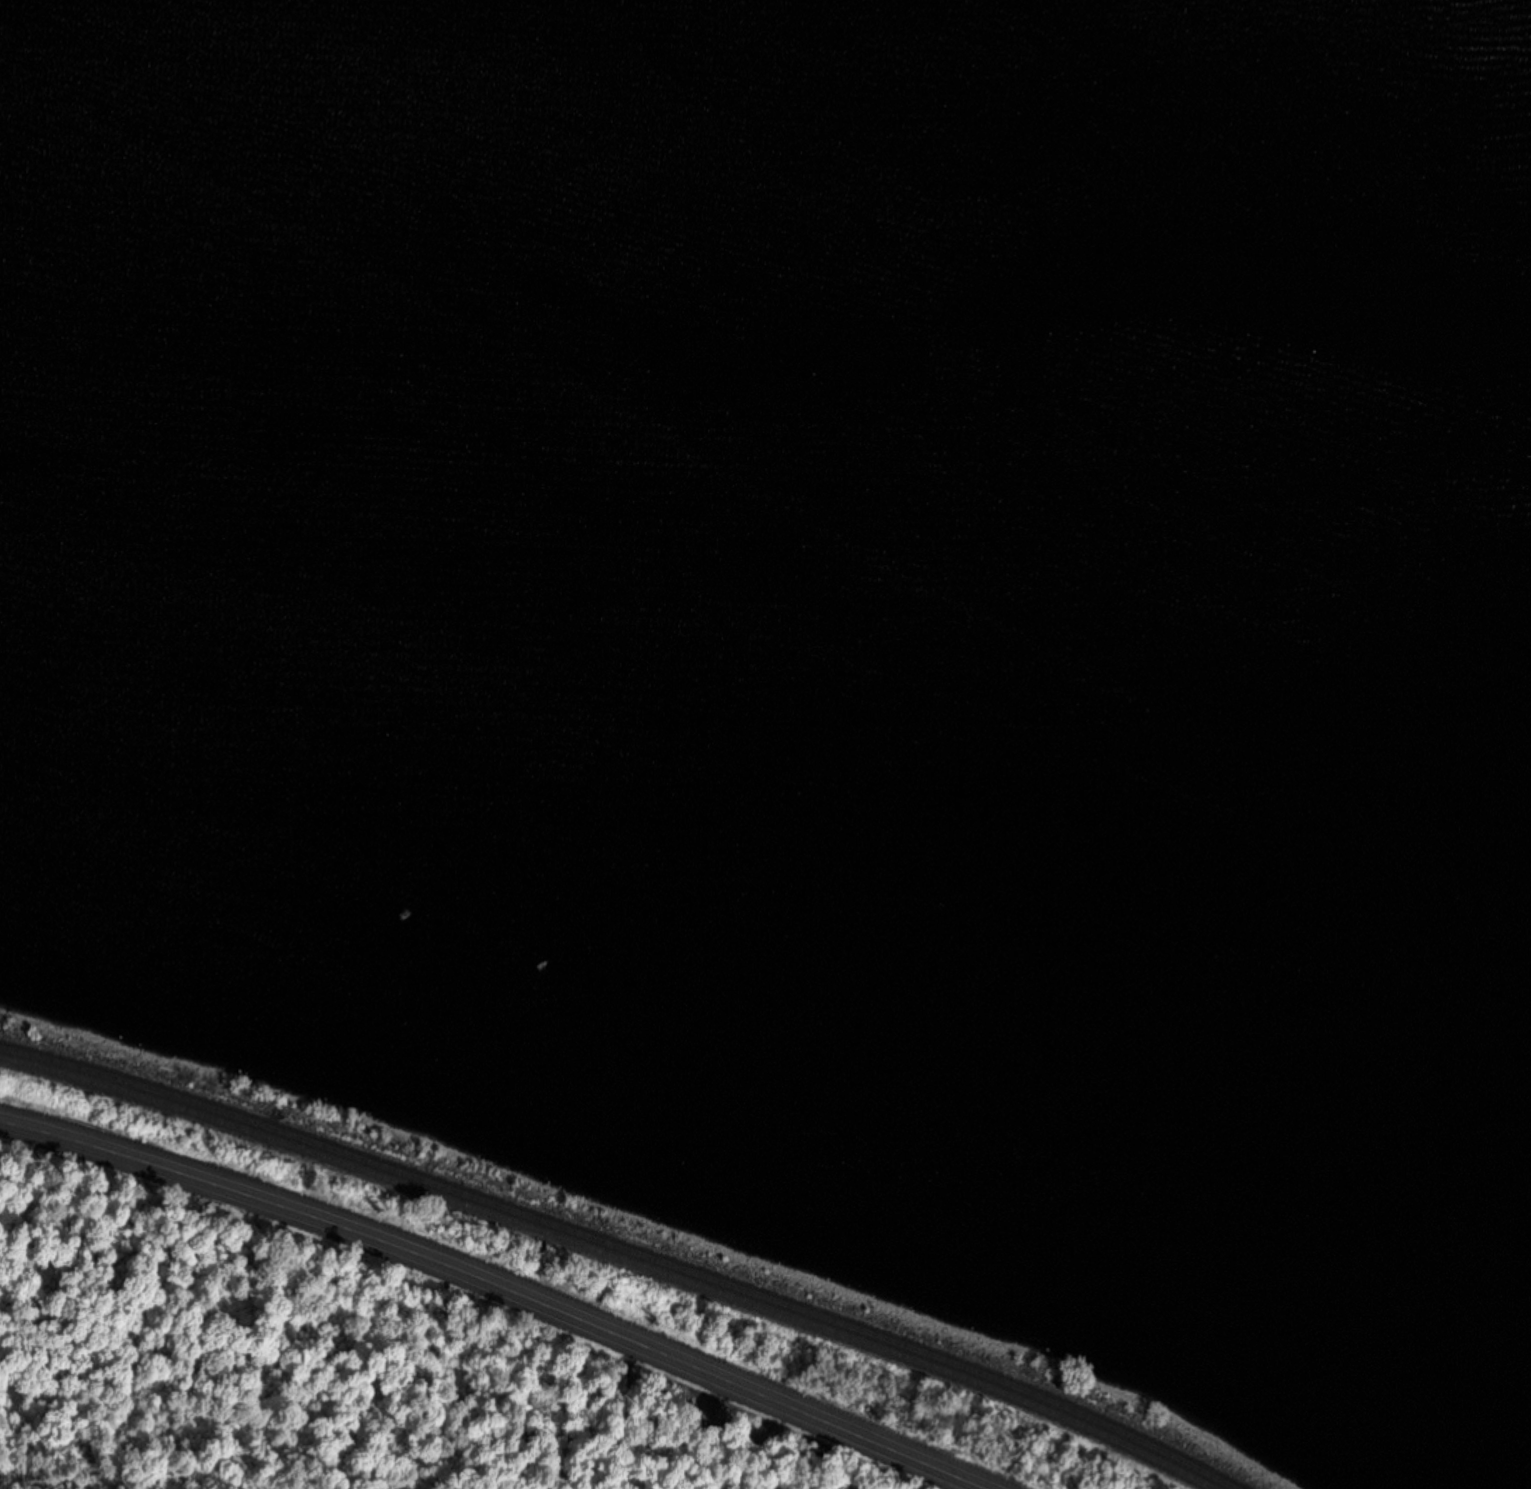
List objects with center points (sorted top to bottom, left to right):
railway: (623, 1250)
railway: (612, 1257)
road: (498, 1288)

